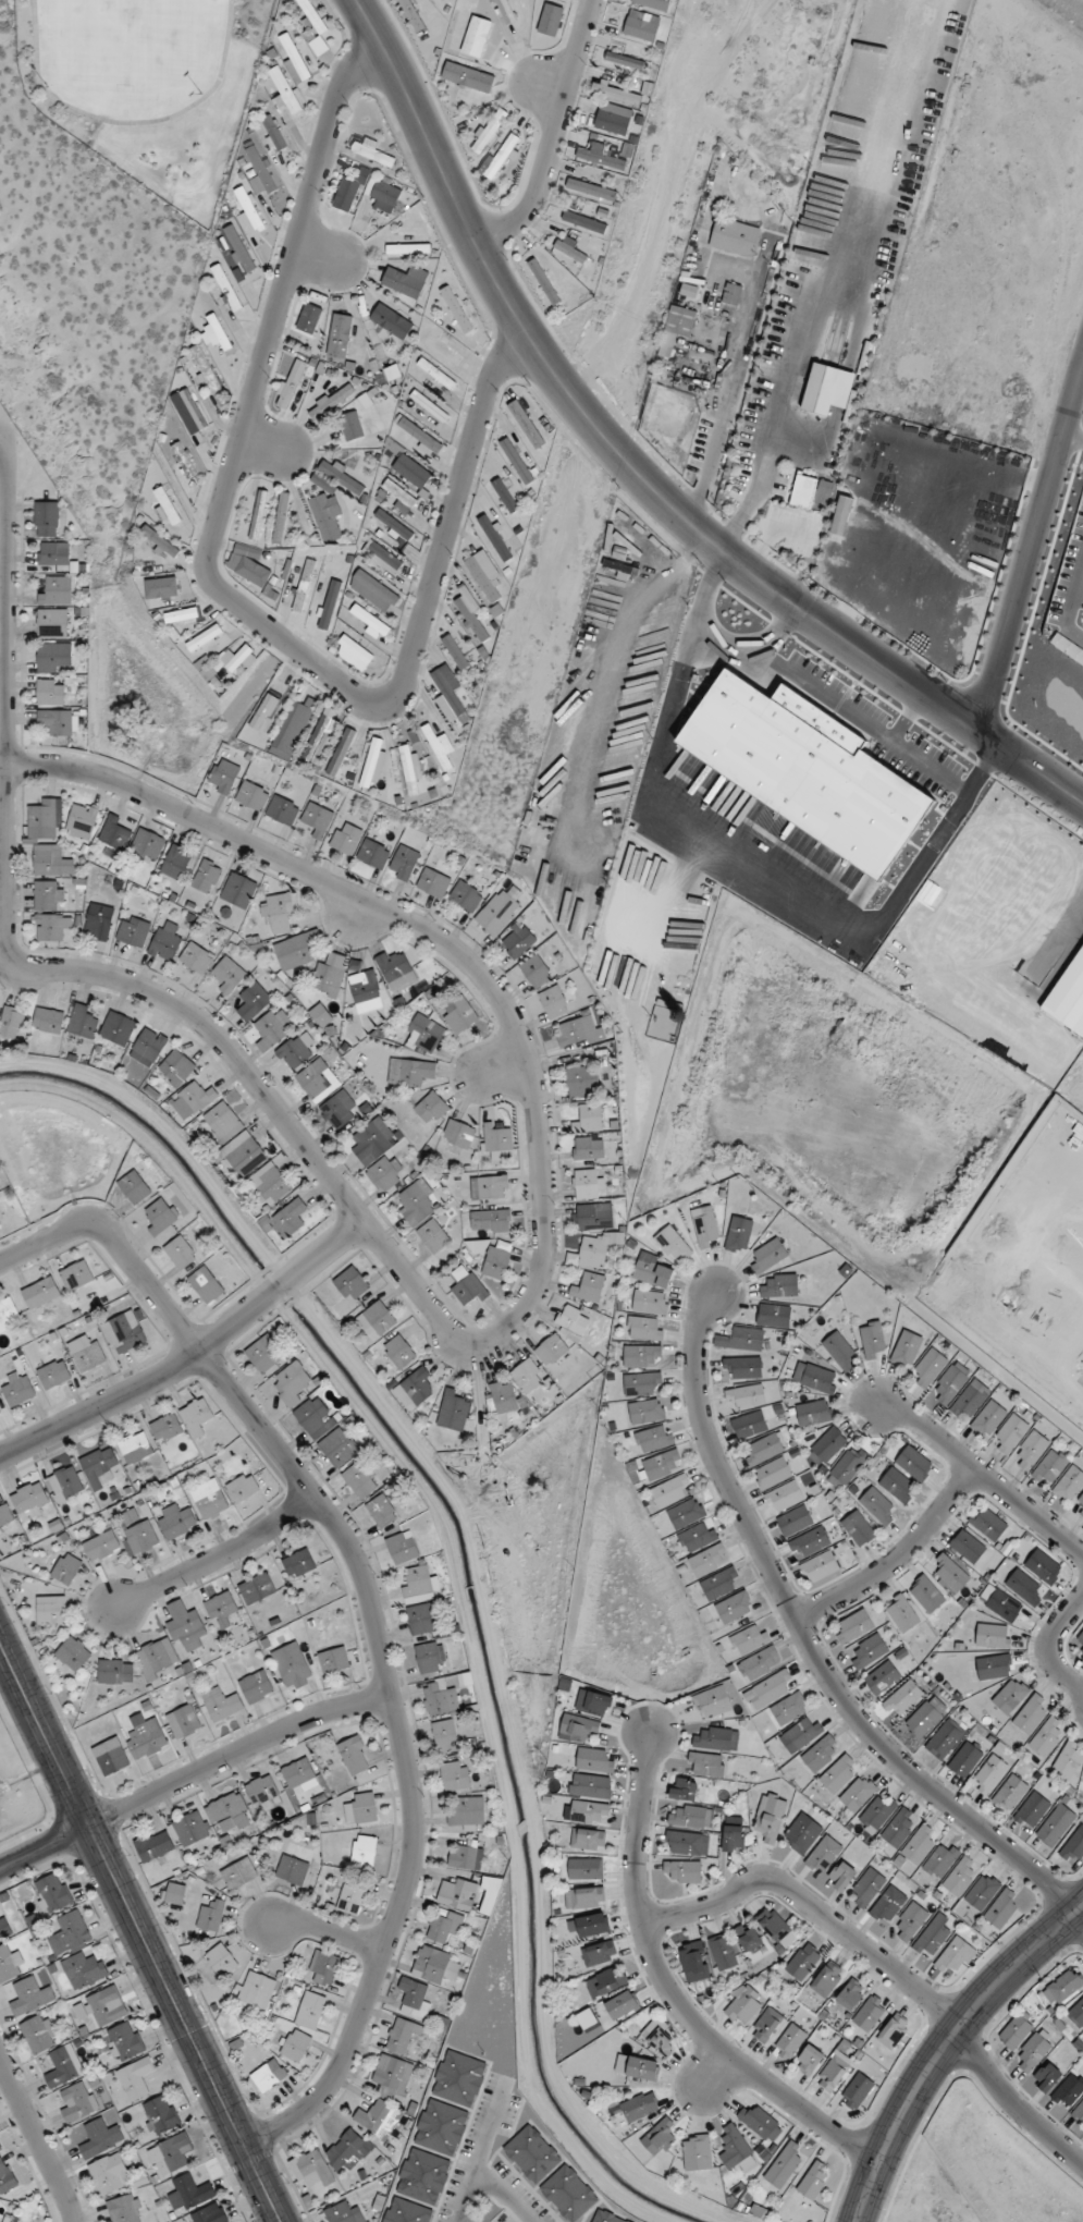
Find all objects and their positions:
building: (654, 3)
building: (505, 11)
building: (312, 16)
building: (550, 16)
road: (344, 28)
building: (640, 28)
building: (476, 36)
park: (126, 44)
building: (319, 46)
building: (293, 59)
building: (625, 60)
building: (468, 76)
road: (531, 76)
park: (148, 85)
building: (284, 89)
building: (615, 94)
building: (613, 119)
road: (128, 123)
road: (547, 129)
building: (488, 130)
building: (273, 133)
building: (373, 152)
building: (500, 155)
building: (605, 157)
building: (260, 171)
building: (591, 190)
building: (349, 191)
building: (384, 195)
building: (248, 207)
building: (583, 221)
building: (734, 237)
building: (238, 248)
building: (407, 249)
building: (570, 251)
road: (330, 256)
building: (402, 282)
building: (544, 282)
building: (225, 286)
building: (731, 294)
building: (456, 309)
building: (308, 318)
building: (391, 321)
building: (680, 321)
building: (214, 332)
building: (339, 335)
building: (442, 347)
building: (205, 368)
building: (435, 374)
building: (429, 405)
building: (189, 412)
road: (3, 424)
building: (526, 424)
building: (350, 426)
road: (2, 437)
road: (1072, 438)
road: (268, 441)
road: (717, 456)
building: (183, 460)
building: (515, 461)
building: (410, 471)
road: (639, 473)
building: (342, 477)
building: (802, 491)
building: (503, 496)
building: (398, 497)
building: (167, 505)
building: (324, 511)
building: (258, 515)
building: (841, 515)
building: (281, 518)
building: (46, 520)
building: (393, 525)
building: (494, 537)
building: (160, 541)
road: (1030, 546)
building: (53, 554)
building: (383, 558)
building: (247, 564)
building: (483, 574)
building: (303, 585)
building: (162, 587)
building: (373, 590)
building: (56, 591)
road: (235, 594)
building: (328, 605)
building: (469, 612)
building: (182, 615)
building: (369, 621)
building: (51, 624)
road: (778, 630)
building: (204, 637)
building: (454, 651)
building: (353, 654)
building: (53, 657)
building: (242, 659)
building: (50, 692)
building: (450, 692)
road: (827, 699)
road: (909, 717)
building: (58, 721)
building: (293, 728)
building: (320, 737)
building: (439, 747)
building: (340, 752)
building: (372, 765)
building: (409, 770)
building: (222, 776)
building: (250, 795)
building: (282, 810)
building: (46, 819)
building: (316, 819)
building: (82, 821)
building: (113, 833)
building: (345, 838)
building: (147, 843)
building: (372, 854)
building: (50, 860)
building: (175, 862)
building: (403, 863)
building: (206, 876)
building: (433, 882)
building: (238, 890)
building: (45, 895)
building: (465, 896)
building: (497, 909)
building: (278, 913)
building: (98, 918)
building: (51, 926)
road: (1063, 930)
building: (133, 931)
building: (165, 940)
building: (517, 940)
building: (293, 952)
building: (196, 957)
building: (396, 970)
building: (536, 972)
building: (227, 975)
building: (327, 979)
building: (365, 991)
building: (1069, 997)
building: (250, 1001)
building: (553, 1002)
building: (320, 1015)
building: (459, 1015)
building: (48, 1021)
building: (81, 1022)
building: (11, 1023)
building: (116, 1028)
building: (270, 1028)
building: (578, 1031)
building: (423, 1035)
building: (149, 1045)
building: (293, 1052)
building: (176, 1067)
building: (409, 1072)
building: (313, 1078)
building: (581, 1081)
building: (193, 1100)
building: (431, 1108)
building: (335, 1111)
building: (589, 1119)
building: (458, 1133)
building: (234, 1139)
building: (372, 1140)
building: (495, 1140)
building: (589, 1148)
building: (385, 1173)
building: (589, 1184)
building: (272, 1185)
building: (134, 1187)
building: (492, 1187)
building: (416, 1201)
building: (594, 1216)
building: (159, 1217)
building: (290, 1217)
building: (491, 1221)
building: (705, 1230)
building: (433, 1235)
building: (738, 1235)
building: (673, 1244)
building: (598, 1248)
building: (180, 1253)
building: (768, 1256)
building: (496, 1259)
road: (399, 1268)
building: (652, 1270)
building: (76, 1275)
building: (205, 1284)
building: (780, 1286)
building: (588, 1287)
building: (349, 1290)
building: (469, 1290)
building: (40, 1292)
building: (650, 1303)
building: (8, 1315)
building: (774, 1316)
building: (380, 1318)
building: (571, 1322)
building: (645, 1329)
building: (123, 1332)
building: (741, 1340)
building: (872, 1340)
building: (906, 1350)
building: (398, 1351)
building: (552, 1351)
building: (839, 1351)
building: (262, 1352)
road: (193, 1355)
building: (88, 1356)
building: (641, 1356)
building: (743, 1367)
building: (928, 1367)
building: (53, 1375)
building: (528, 1376)
building: (819, 1379)
building: (291, 1383)
building: (642, 1383)
building: (949, 1383)
building: (16, 1389)
building: (415, 1389)
building: (504, 1396)
building: (746, 1396)
building: (968, 1402)
building: (454, 1409)
building: (647, 1411)
building: (0, 1412)
building: (813, 1413)
building: (196, 1416)
building: (313, 1417)
building: (988, 1419)
building: (749, 1425)
building: (165, 1428)
building: (1009, 1434)
building: (654, 1439)
building: (135, 1446)
building: (339, 1448)
building: (764, 1449)
building: (1030, 1451)
building: (913, 1463)
building: (98, 1465)
building: (661, 1465)
building: (847, 1467)
building: (1049, 1467)
road: (976, 1468)
building: (773, 1473)
building: (359, 1479)
building: (64, 1482)
building: (1069, 1485)
building: (897, 1486)
building: (242, 1488)
building: (670, 1490)
building: (784, 1497)
building: (28, 1500)
building: (209, 1500)
building: (876, 1505)
building: (1079, 1506)
building: (381, 1511)
building: (4, 1513)
building: (687, 1513)
building: (795, 1521)
building: (176, 1522)
building: (987, 1523)
building: (858, 1528)
building: (141, 1537)
building: (698, 1537)
building: (811, 1541)
building: (101, 1546)
building: (968, 1546)
building: (402, 1547)
road: (217, 1558)
building: (709, 1560)
road: (901, 1561)
building: (298, 1563)
building: (820, 1566)
building: (1043, 1566)
building: (65, 1568)
building: (949, 1573)
building: (420, 1584)
building: (721, 1584)
building: (1024, 1587)
building: (256, 1588)
building: (926, 1594)
building: (1004, 1606)
building: (734, 1607)
building: (51, 1610)
building: (221, 1610)
building: (901, 1614)
road: (373, 1617)
building: (419, 1619)
building: (184, 1625)
building: (853, 1626)
road: (808, 1636)
building: (993, 1636)
building: (750, 1639)
building: (1079, 1641)
road: (1053, 1648)
building: (867, 1651)
building: (73, 1653)
building: (157, 1657)
building: (429, 1657)
building: (333, 1660)
building: (760, 1663)
building: (292, 1665)
building: (994, 1666)
building: (115, 1671)
building: (882, 1677)
building: (256, 1687)
building: (768, 1689)
building: (1010, 1695)
building: (440, 1698)
building: (900, 1699)
building: (713, 1702)
building: (599, 1704)
building: (219, 1705)
building: (789, 1708)
building: (1031, 1713)
building: (925, 1717)
building: (183, 1721)
building: (578, 1727)
building: (446, 1733)
building: (803, 1733)
building: (1046, 1735)
building: (145, 1737)
building: (717, 1739)
building: (944, 1739)
road: (237, 1751)
building: (821, 1753)
building: (354, 1756)
building: (110, 1757)
building: (964, 1760)
building: (1068, 1760)
building: (594, 1761)
building: (706, 1765)
building: (297, 1772)
building: (838, 1772)
building: (989, 1774)
building: (455, 1775)
building: (591, 1786)
building: (684, 1788)
building: (263, 1793)
building: (858, 1793)
building: (1009, 1793)
building: (361, 1809)
building: (1032, 1810)
building: (467, 1811)
building: (877, 1811)
building: (589, 1812)
building: (229, 1814)
building: (690, 1817)
building: (770, 1818)
building: (305, 1820)
building: (1055, 1826)
building: (899, 1828)
building: (190, 1830)
building: (802, 1834)
building: (587, 1839)
building: (734, 1839)
building: (687, 1843)
building: (919, 1844)
building: (153, 1845)
road: (45, 1847)
building: (1071, 1849)
building: (364, 1851)
building: (823, 1854)
building: (465, 1857)
building: (940, 1860)
building: (586, 1869)
building: (292, 1870)
building: (681, 1871)
building: (238, 1873)
building: (841, 1876)
building: (960, 1876)
building: (867, 1887)
building: (982, 1892)
building: (52, 1893)
building: (175, 1893)
building: (457, 1894)
building: (590, 1896)
building: (350, 1899)
building: (489, 1899)
building: (887, 1905)
building: (1001, 1909)
road: (811, 1910)
road: (1081, 1910)
building: (211, 1916)
building: (910, 1921)
building: (588, 1926)
building: (3, 1927)
building: (444, 1927)
building: (775, 1927)
road: (327, 1929)
road: (140, 1931)
building: (69, 1934)
building: (748, 1937)
building: (932, 1937)
building: (723, 1951)
building: (599, 1954)
building: (692, 1958)
building: (952, 1958)
building: (221, 1961)
building: (802, 1962)
building: (9, 1964)
building: (433, 1965)
building: (323, 1968)
building: (83, 1970)
building: (825, 1980)
building: (606, 1981)
building: (1066, 1986)
building: (257, 1990)
road: (669, 1994)
building: (850, 1994)
building: (29, 1997)
building: (415, 1997)
building: (622, 2005)
building: (743, 2005)
building: (100, 2007)
building: (310, 2010)
building: (870, 2013)
building: (1076, 2014)
building: (587, 2018)
building: (766, 2025)
building: (1017, 2029)
building: (893, 2031)
building: (38, 2034)
building: (402, 2035)
building: (660, 2039)
building: (124, 2041)
building: (789, 2041)
road: (944, 2044)
building: (295, 2046)
building: (1032, 2052)
building: (808, 2059)
building: (60, 2066)
building: (642, 2071)
building: (834, 2071)
building: (392, 2073)
building: (268, 2075)
building: (1047, 2077)
building: (135, 2078)
building: (458, 2078)
building: (1068, 2090)
building: (857, 2091)
road: (1011, 2100)
building: (77, 2102)
building: (639, 2108)
building: (1078, 2113)
building: (159, 2115)
building: (378, 2120)
building: (760, 2122)
building: (440, 2127)
road: (484, 2132)
building: (99, 2137)
building: (659, 2137)
road: (38, 2139)
building: (736, 2149)
building: (347, 2150)
building: (697, 2152)
building: (171, 2153)
building: (530, 2154)
building: (783, 2165)
building: (311, 2169)
building: (109, 2174)
building: (5, 2175)
building: (422, 2176)
building: (812, 2182)
building: (189, 2193)
building: (566, 2194)
road: (504, 2195)
road: (465, 2198)
building: (124, 2209)
building: (406, 2211)
building: (344, 2212)
building: (209, 2214)
building: (605, 2217)

